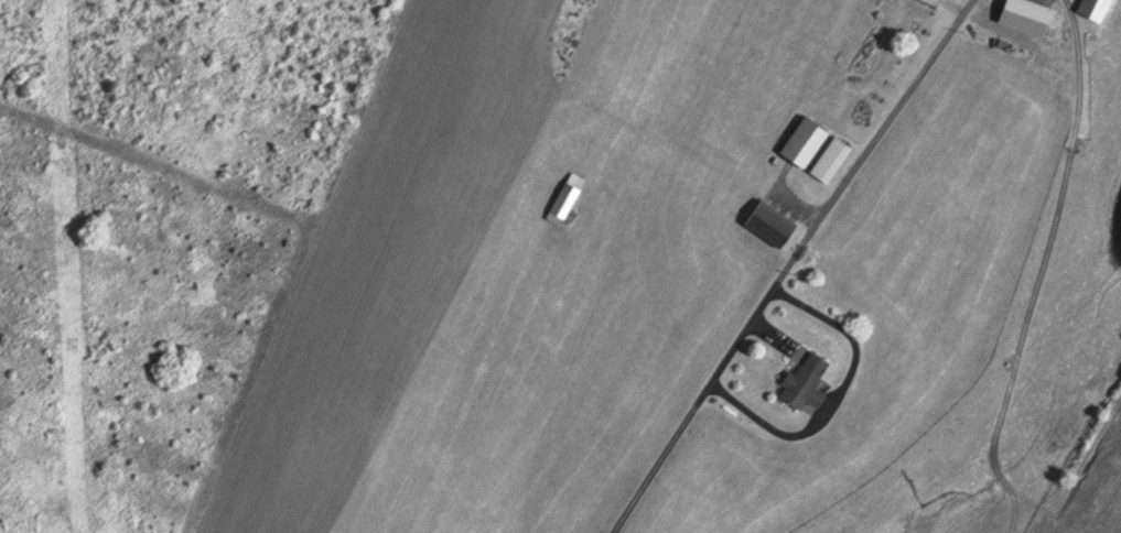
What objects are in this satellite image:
building: (1098, 9)
building: (802, 140)
building: (831, 159)
building: (564, 197)
building: (772, 222)
road: (750, 260)
building: (806, 380)

